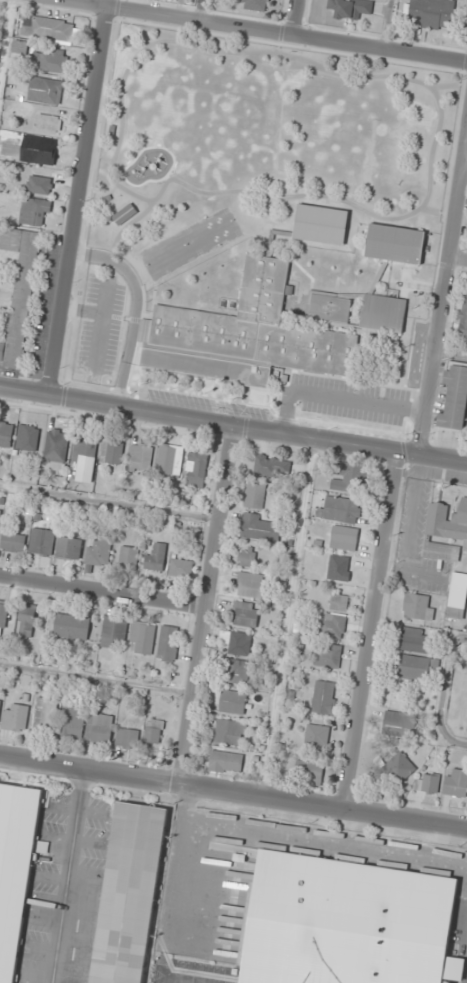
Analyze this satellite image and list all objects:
building: (255, 4)
building: (349, 8)
road: (199, 10)
building: (432, 12)
road: (293, 17)
road: (386, 24)
building: (50, 28)
road: (264, 30)
road: (5, 35)
building: (50, 59)
building: (45, 90)
building: (49, 122)
building: (39, 149)
building: (41, 184)
road: (78, 198)
building: (35, 212)
building: (125, 214)
building: (321, 224)
building: (395, 243)
road: (459, 259)
building: (19, 290)
road: (445, 298)
road: (137, 307)
building: (330, 307)
road: (83, 309)
building: (383, 313)
building: (463, 316)
road: (100, 326)
building: (246, 335)
road: (418, 353)
road: (340, 397)
building: (455, 397)
road: (233, 425)
building: (6, 434)
building: (27, 438)
building: (55, 449)
building: (112, 452)
building: (140, 457)
building: (170, 459)
building: (85, 460)
building: (272, 465)
building: (195, 473)
building: (349, 478)
building: (255, 495)
parking lot: (419, 506)
building: (339, 509)
building: (0, 512)
building: (260, 527)
building: (344, 538)
building: (42, 541)
building: (13, 542)
building: (71, 546)
building: (450, 549)
building: (98, 552)
building: (246, 557)
building: (128, 558)
building: (155, 559)
building: (181, 568)
building: (341, 568)
building: (251, 585)
road: (103, 591)
building: (339, 602)
road: (207, 605)
building: (418, 606)
building: (245, 614)
building: (3, 615)
building: (26, 620)
building: (332, 625)
building: (69, 626)
building: (114, 632)
road: (373, 632)
building: (142, 638)
building: (417, 640)
building: (237, 642)
building: (168, 643)
building: (328, 655)
building: (413, 667)
building: (238, 671)
building: (324, 697)
building: (0, 701)
building: (232, 702)
building: (46, 714)
building: (15, 717)
building: (72, 723)
building: (399, 724)
building: (102, 728)
building: (153, 731)
building: (229, 732)
building: (127, 737)
building: (316, 737)
building: (225, 762)
building: (398, 768)
building: (309, 772)
building: (456, 782)
building: (427, 783)
road: (233, 793)
building: (14, 869)
building: (129, 893)
building: (349, 924)

